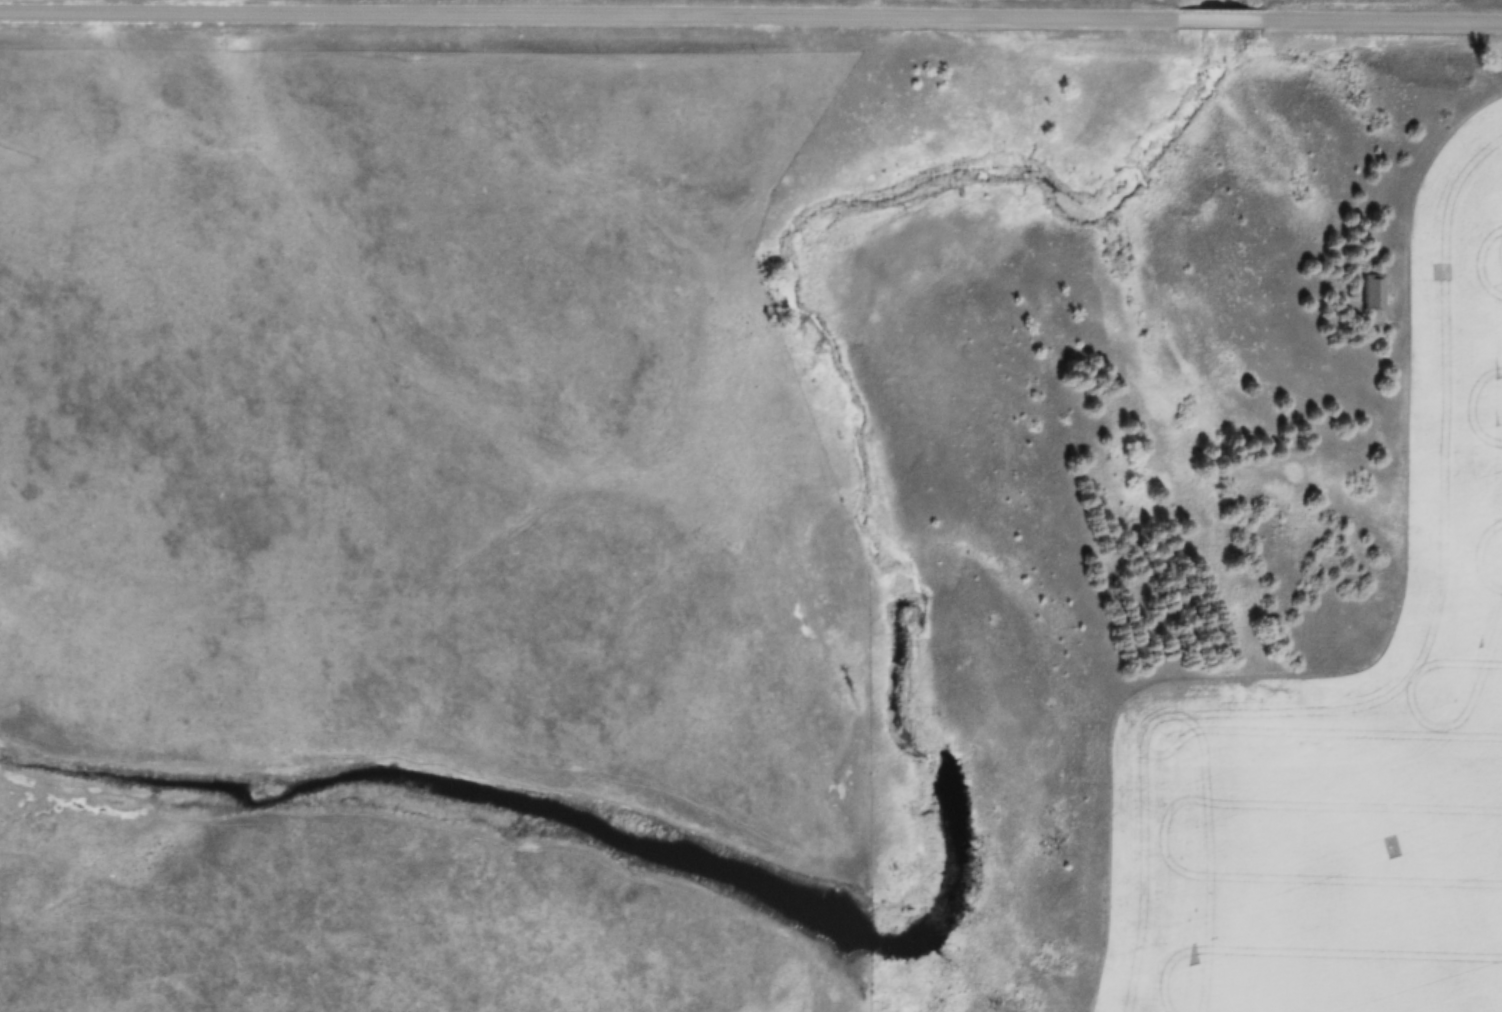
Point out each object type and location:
road: (588, 14)
road: (1216, 19)
road: (1379, 20)
building: (1372, 291)

